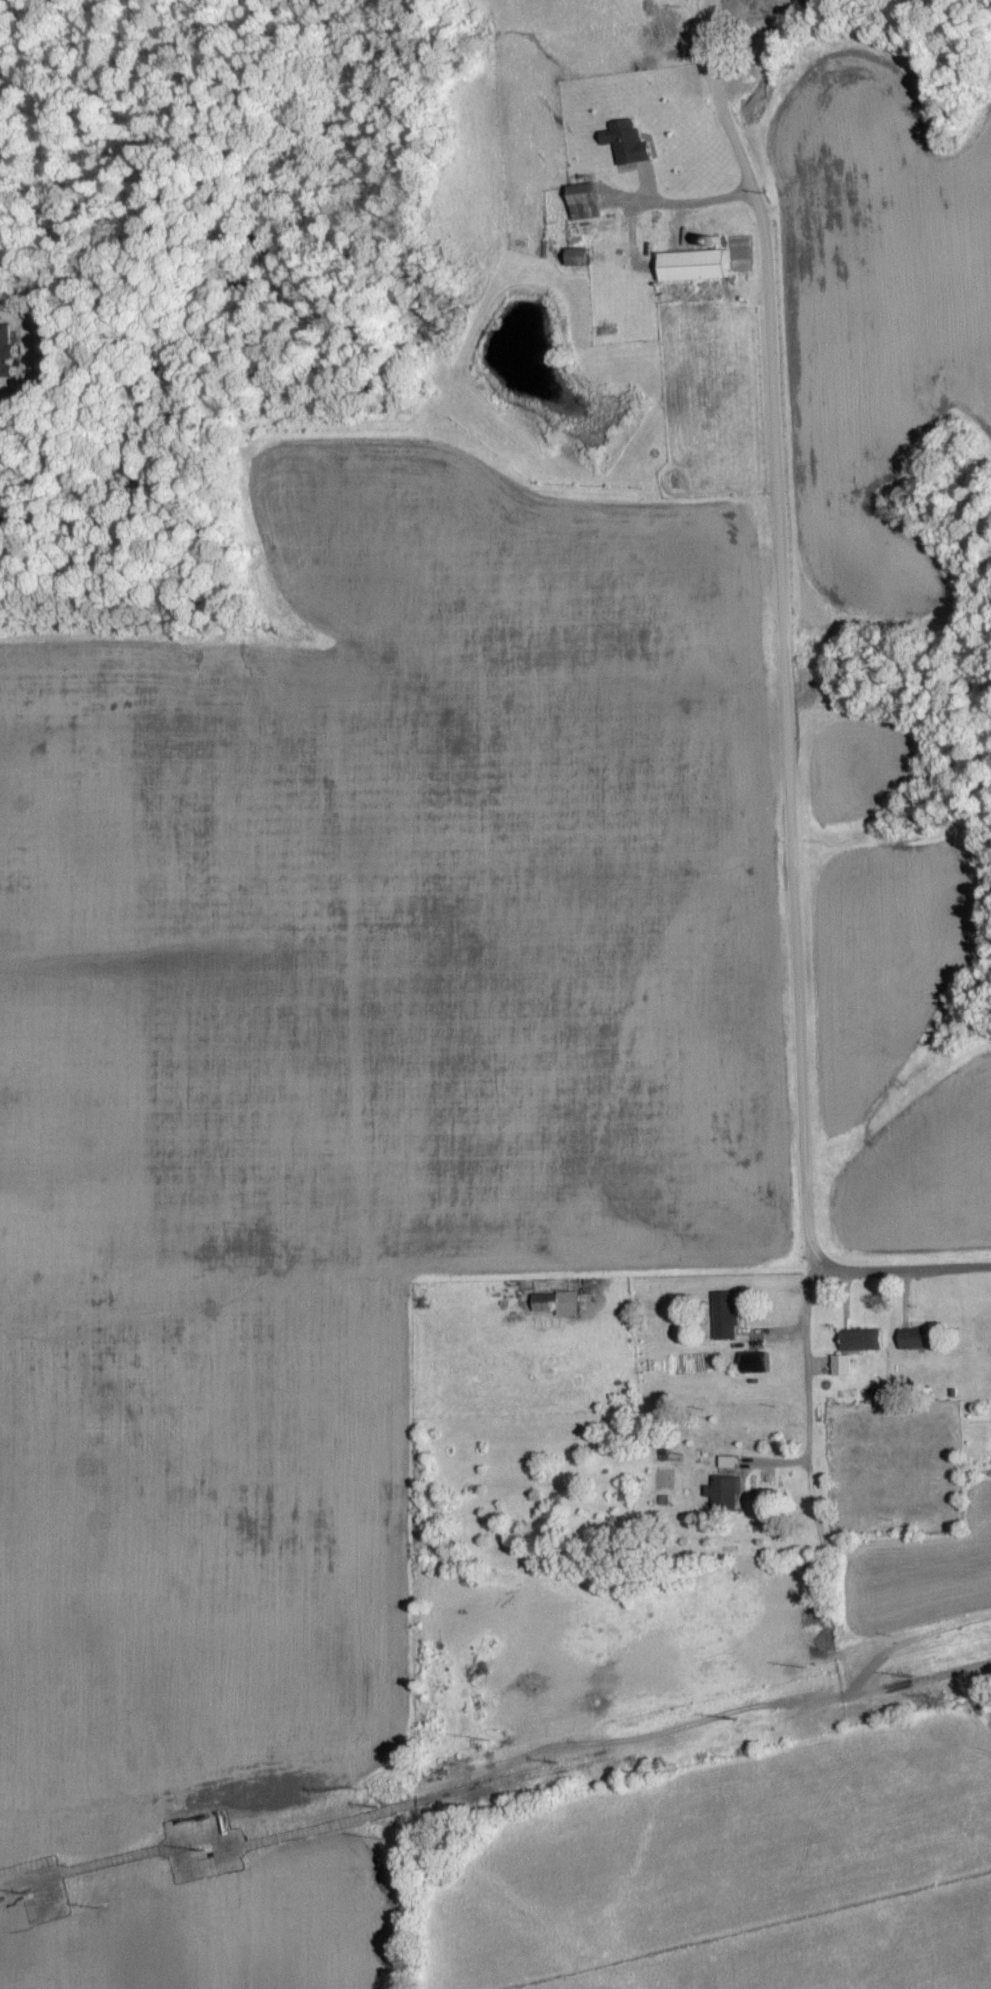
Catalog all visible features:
building: (632, 142)
building: (590, 201)
building: (585, 243)
building: (586, 256)
building: (700, 265)
building: (10, 352)
road: (803, 716)
road: (807, 1293)
building: (568, 1304)
building: (729, 1316)
building: (923, 1339)
building: (864, 1340)
building: (759, 1363)
building: (844, 1366)
road: (808, 1423)
building: (726, 1492)

